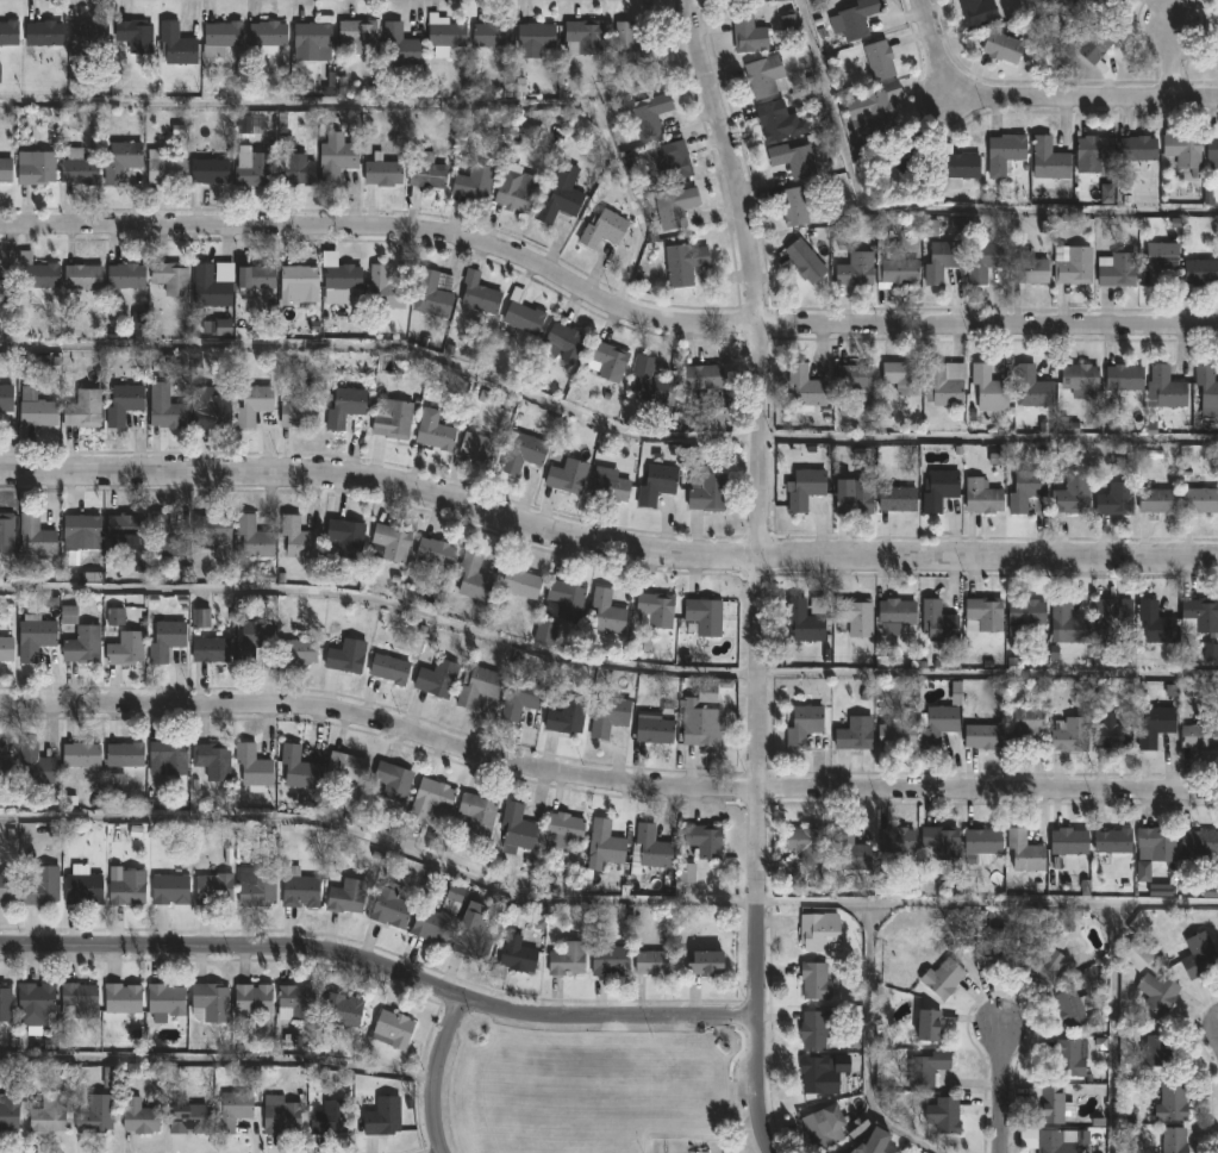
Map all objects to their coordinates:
building: (1101, 2)
building: (979, 12)
building: (856, 19)
building: (8, 32)
building: (42, 32)
building: (748, 32)
building: (86, 33)
building: (133, 33)
building: (445, 33)
building: (491, 33)
building: (357, 35)
building: (266, 36)
building: (582, 36)
building: (220, 37)
building: (535, 37)
building: (312, 39)
building: (175, 43)
building: (400, 44)
building: (1095, 44)
building: (1002, 45)
building: (629, 48)
road: (1054, 48)
road: (1174, 57)
building: (876, 61)
building: (764, 74)
road: (1038, 96)
building: (880, 110)
road: (401, 112)
building: (650, 114)
building: (772, 120)
building: (1182, 147)
building: (1138, 148)
building: (910, 151)
building: (1212, 151)
building: (1004, 152)
building: (1093, 152)
building: (1049, 158)
building: (120, 160)
building: (793, 160)
building: (337, 161)
building: (674, 162)
building: (293, 163)
building: (164, 164)
building: (957, 166)
building: (36, 167)
building: (77, 167)
building: (252, 168)
building: (5, 169)
building: (425, 169)
building: (207, 172)
building: (382, 172)
building: (473, 181)
building: (513, 193)
building: (558, 197)
building: (795, 204)
building: (674, 206)
road: (931, 218)
building: (602, 228)
building: (983, 258)
building: (805, 260)
building: (942, 261)
building: (1158, 261)
building: (682, 263)
building: (898, 266)
building: (1075, 267)
building: (855, 268)
building: (1029, 268)
building: (1117, 270)
building: (1200, 272)
building: (36, 275)
building: (255, 275)
building: (81, 276)
building: (170, 276)
building: (339, 276)
building: (124, 278)
building: (298, 283)
building: (211, 286)
building: (386, 286)
building: (7, 291)
building: (433, 293)
building: (479, 299)
road: (604, 303)
building: (521, 312)
building: (563, 342)
building: (607, 360)
building: (704, 376)
building: (901, 376)
building: (1124, 376)
building: (854, 378)
building: (1081, 379)
building: (649, 380)
building: (945, 382)
building: (1206, 384)
building: (989, 387)
building: (1032, 387)
building: (1166, 387)
building: (805, 388)
building: (5, 397)
building: (123, 403)
building: (252, 404)
building: (343, 406)
building: (36, 407)
building: (82, 407)
building: (212, 411)
building: (168, 413)
building: (298, 413)
building: (395, 418)
building: (711, 420)
road: (602, 423)
building: (435, 434)
building: (479, 447)
building: (524, 454)
building: (567, 475)
building: (656, 485)
building: (806, 487)
building: (939, 488)
building: (1026, 488)
building: (608, 490)
building: (707, 491)
building: (854, 496)
building: (1070, 496)
building: (981, 497)
building: (898, 498)
building: (1114, 499)
building: (1157, 499)
building: (1199, 499)
road: (760, 503)
building: (80, 526)
building: (211, 529)
building: (7, 532)
building: (36, 536)
building: (165, 536)
building: (129, 537)
building: (251, 537)
building: (298, 537)
building: (343, 538)
building: (389, 543)
building: (435, 551)
road: (604, 553)
building: (473, 579)
building: (520, 582)
building: (568, 599)
building: (7, 602)
building: (656, 609)
building: (607, 612)
building: (1026, 612)
building: (1113, 613)
building: (894, 615)
building: (983, 615)
building: (704, 616)
building: (855, 616)
building: (1199, 616)
building: (938, 621)
building: (1156, 622)
building: (804, 623)
building: (1069, 623)
building: (545, 634)
building: (35, 637)
building: (165, 640)
building: (251, 640)
building: (82, 644)
building: (6, 648)
building: (125, 648)
building: (210, 649)
building: (298, 652)
building: (344, 656)
road: (604, 667)
building: (388, 668)
building: (437, 678)
building: (476, 686)
building: (520, 699)
building: (610, 716)
building: (566, 717)
building: (804, 725)
building: (938, 725)
building: (1024, 725)
building: (1154, 725)
building: (700, 728)
building: (654, 730)
building: (856, 733)
building: (1112, 733)
building: (1200, 734)
building: (1072, 735)
building: (897, 736)
building: (983, 736)
building: (80, 754)
building: (124, 754)
building: (167, 756)
building: (212, 760)
building: (36, 764)
building: (345, 766)
building: (252, 767)
building: (298, 768)
building: (6, 772)
building: (393, 780)
road: (602, 783)
building: (115, 785)
building: (430, 797)
building: (477, 812)
building: (517, 827)
building: (562, 831)
building: (895, 839)
building: (704, 840)
building: (1112, 840)
building: (941, 841)
building: (606, 842)
building: (1068, 842)
building: (1156, 842)
building: (1199, 842)
building: (806, 845)
building: (980, 846)
building: (651, 847)
building: (850, 849)
building: (1024, 849)
building: (255, 884)
building: (7, 885)
building: (42, 885)
building: (82, 885)
building: (127, 886)
building: (213, 886)
building: (299, 887)
building: (169, 889)
building: (345, 895)
road: (602, 903)
building: (388, 905)
building: (438, 915)
building: (819, 930)
building: (473, 931)
building: (992, 949)
building: (1138, 954)
building: (1199, 955)
building: (516, 956)
building: (568, 959)
building: (610, 960)
building: (702, 960)
building: (1041, 960)
building: (654, 962)
road: (379, 971)
building: (942, 977)
building: (816, 980)
building: (1157, 991)
building: (121, 997)
building: (77, 999)
building: (251, 999)
building: (5, 1001)
building: (164, 1001)
building: (211, 1001)
building: (295, 1002)
building: (35, 1004)
building: (1072, 1008)
building: (343, 1009)
building: (927, 1023)
building: (816, 1027)
building: (392, 1028)
road: (1116, 1028)
road: (869, 1043)
building: (1158, 1049)
building: (1070, 1055)
road: (217, 1066)
building: (927, 1066)
building: (823, 1072)
road: (436, 1073)
road: (754, 1084)
road: (1004, 1090)
park: (594, 1091)
building: (1048, 1102)
building: (1172, 1102)
building: (10, 1108)
building: (232, 1110)
building: (48, 1113)
building: (94, 1114)
building: (279, 1114)
building: (944, 1114)
building: (139, 1116)
building: (186, 1116)
building: (327, 1116)
building: (382, 1116)
building: (823, 1124)
building: (1060, 1140)
building: (1175, 1140)
building: (856, 1149)

